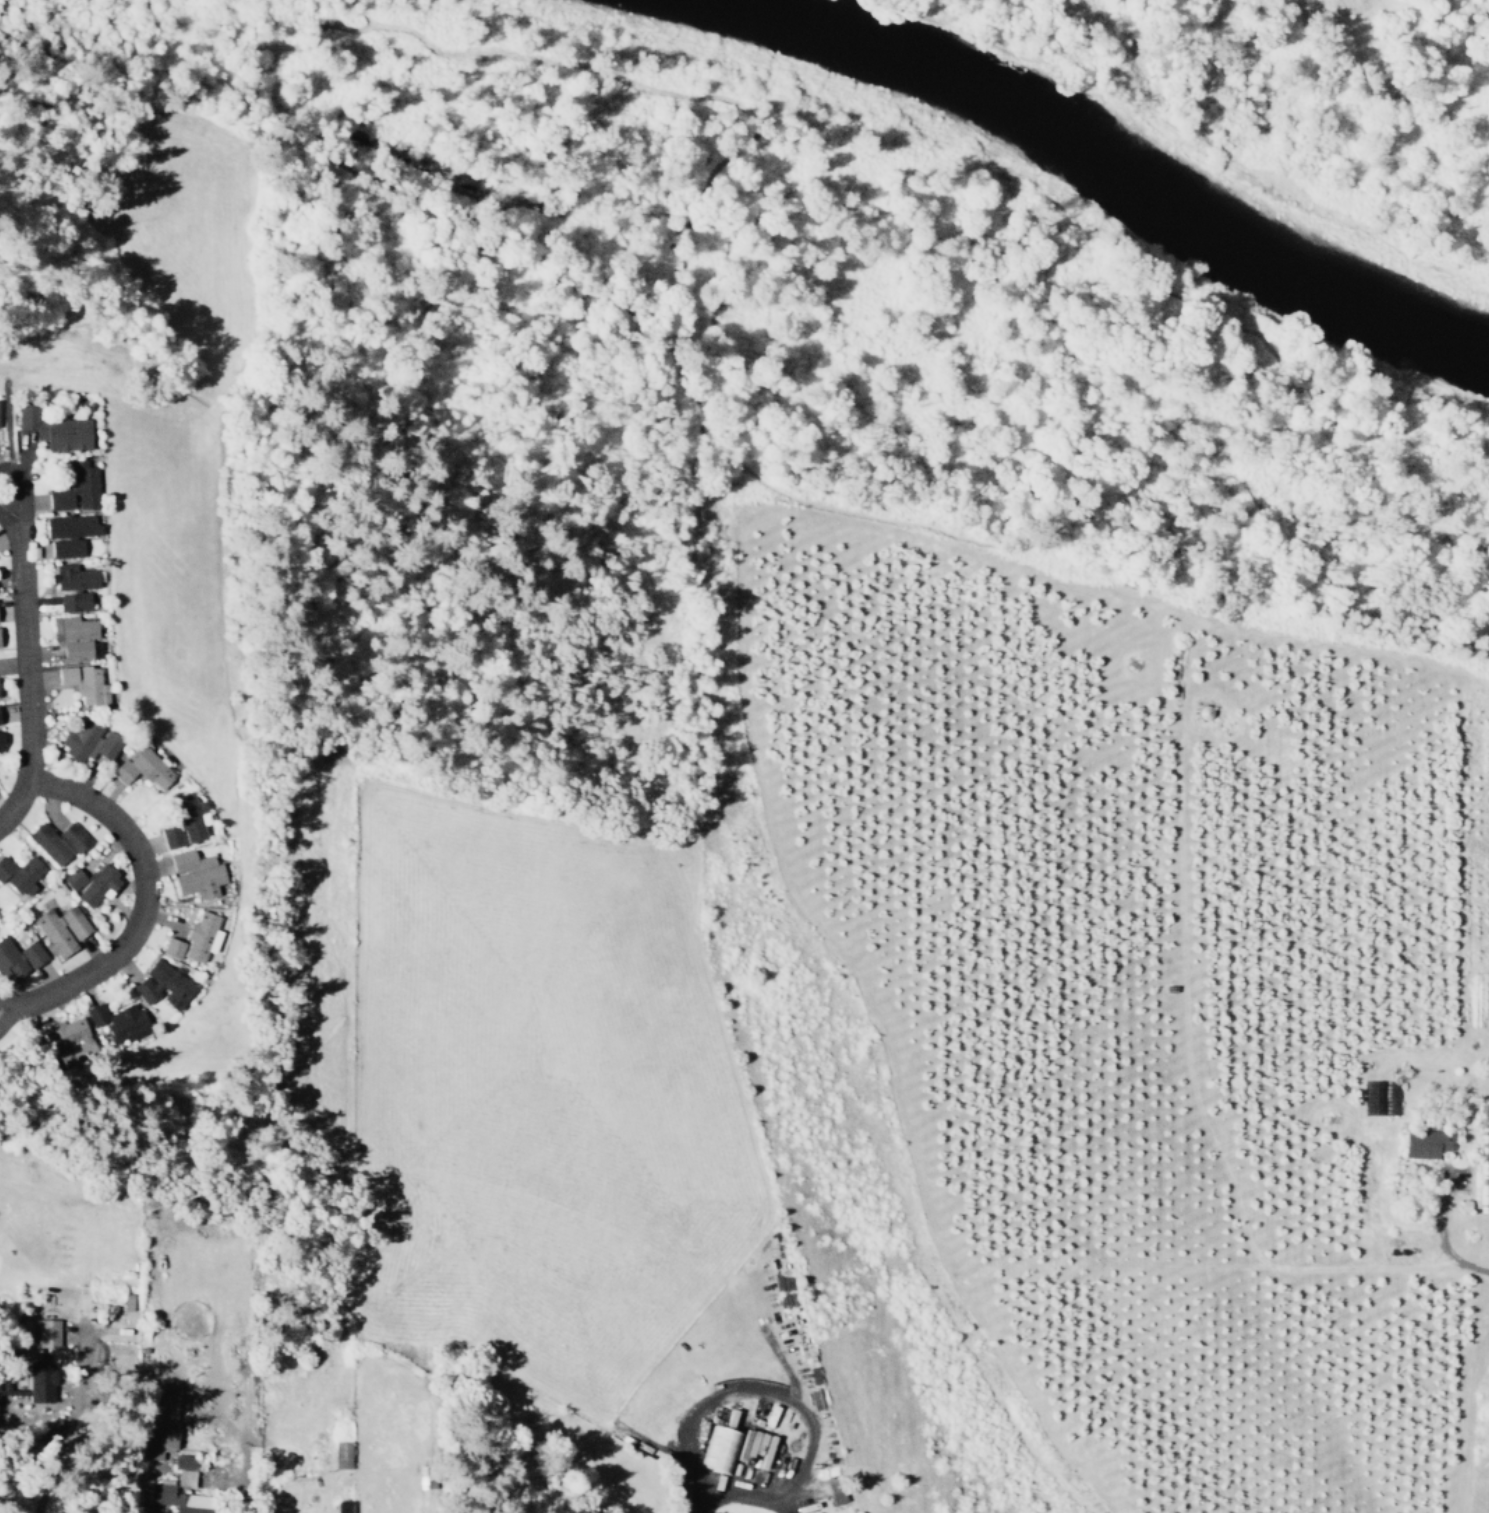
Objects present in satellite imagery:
road: (1402, 54)
river: (1080, 164)
building: (53, 427)
building: (75, 490)
road: (24, 498)
road: (11, 529)
building: (69, 533)
building: (74, 577)
building: (73, 601)
building: (73, 636)
building: (83, 682)
road: (24, 687)
building: (1, 736)
building: (89, 740)
building: (142, 766)
building: (182, 821)
building: (56, 841)
building: (19, 872)
building: (194, 873)
building: (91, 883)
road: (143, 883)
building: (60, 929)
building: (200, 936)
building: (171, 947)
building: (30, 954)
building: (9, 961)
building: (162, 985)
road: (20, 1002)
road: (20, 1012)
building: (118, 1021)
building: (65, 1034)
building: (1384, 1097)
building: (1426, 1143)
road: (1441, 1240)
building: (126, 1301)
building: (46, 1332)
building: (39, 1381)
building: (164, 1408)
road: (64, 1426)
building: (753, 1447)
building: (719, 1448)
building: (183, 1470)
building: (836, 1491)
building: (179, 1499)

